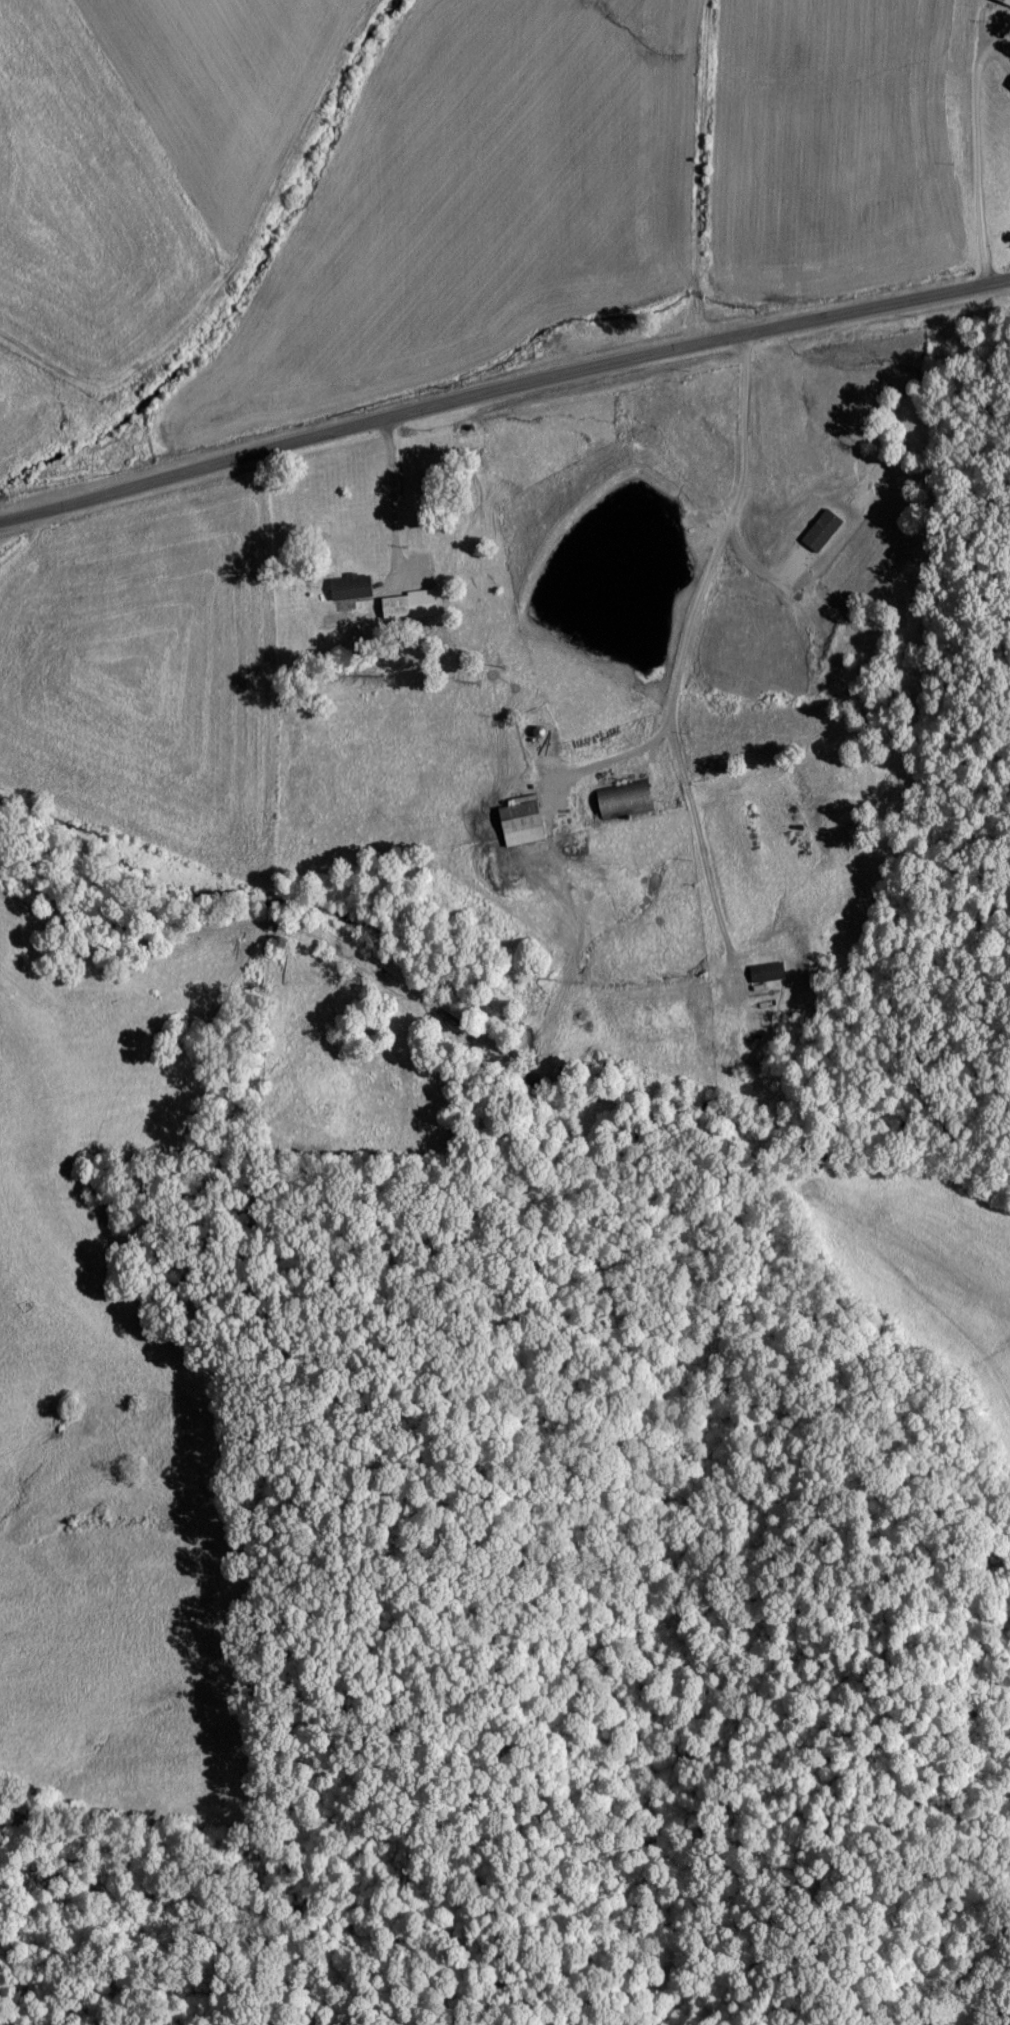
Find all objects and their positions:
building: (1005, 1)
road: (978, 161)
road: (758, 168)
road: (503, 393)
road: (393, 495)
road: (714, 563)
building: (352, 585)
building: (407, 604)
building: (625, 797)
building: (524, 820)
road: (708, 870)
building: (768, 971)

